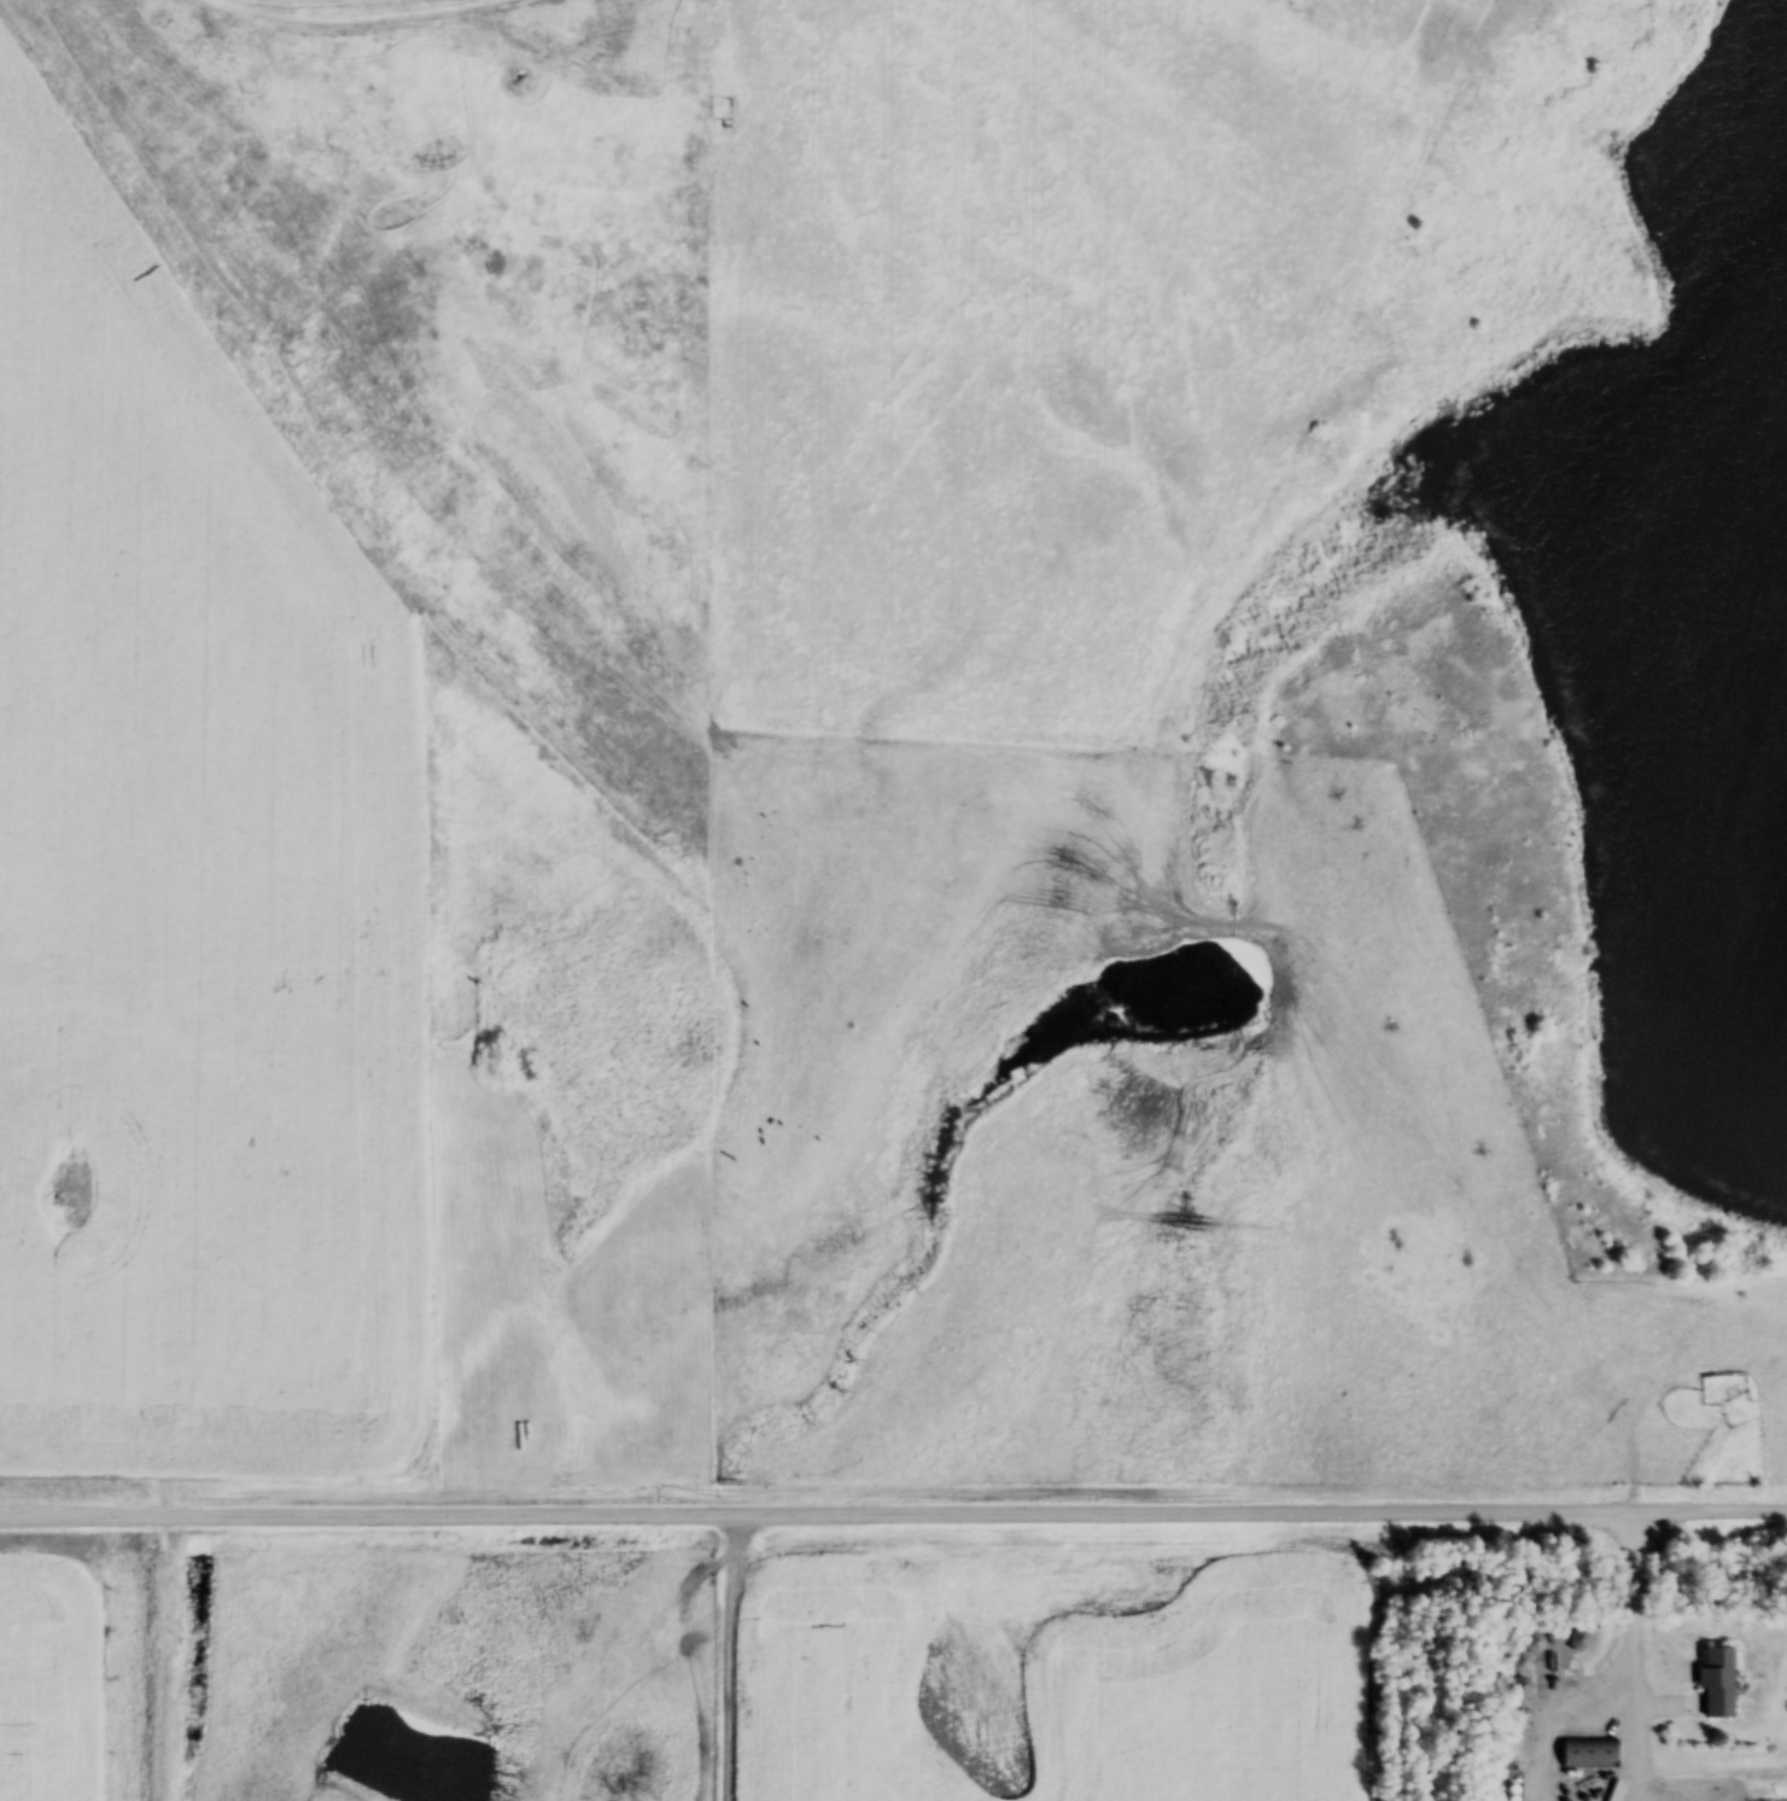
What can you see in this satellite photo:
road: (893, 1509)
road: (1634, 1632)
building: (1536, 1643)
building: (1522, 1663)
building: (1721, 1684)
building: (1522, 1701)
building: (1589, 1754)

